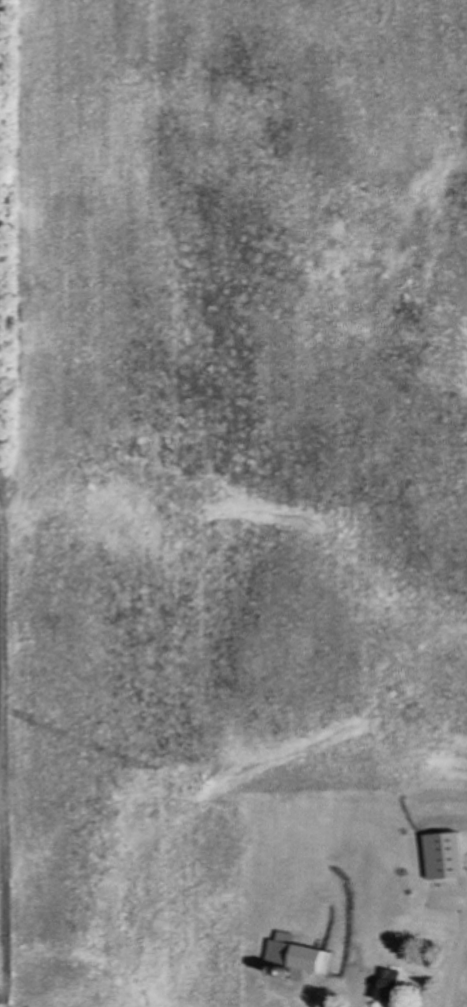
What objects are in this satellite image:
building: (414, 869)
building: (317, 896)
building: (437, 904)
road: (460, 939)
building: (300, 958)
building: (359, 963)
building: (384, 987)
road: (362, 992)

